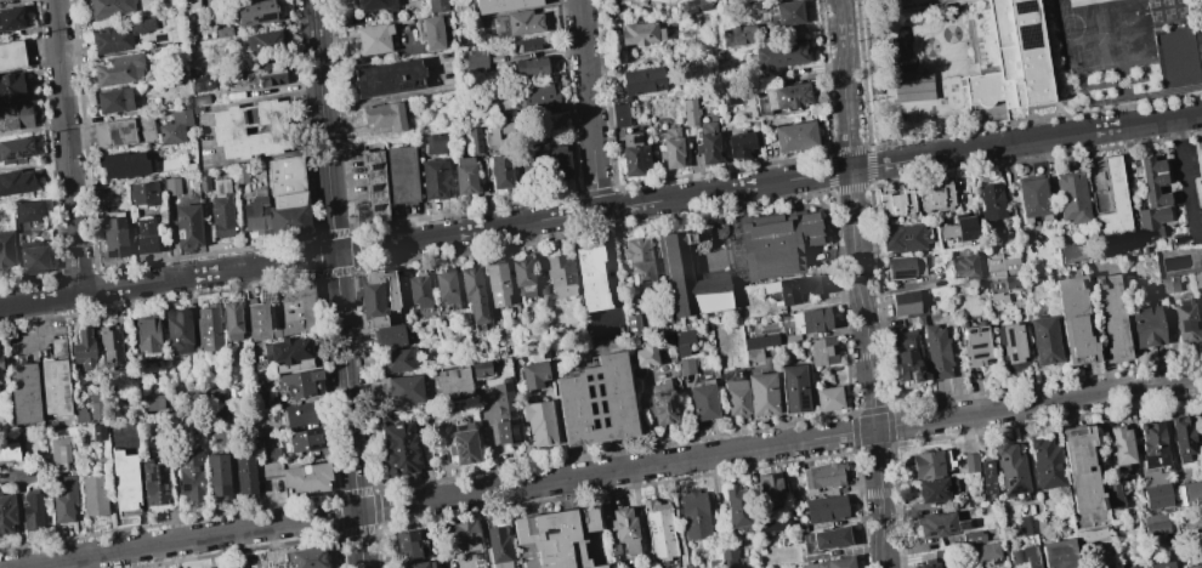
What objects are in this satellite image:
building: (741, 0)
building: (749, 1)
park: (1180, 1)
park: (1167, 2)
building: (189, 4)
building: (374, 4)
building: (913, 4)
park: (1153, 4)
building: (436, 5)
building: (501, 5)
building: (699, 5)
building: (108, 7)
rooftop solar panel: (1024, 8)
building: (253, 12)
park: (1183, 12)
park: (1169, 15)
building: (783, 16)
building: (11, 17)
rooftop solar panel: (265, 17)
park: (1155, 17)
park: (954, 18)
rooftop solar panel: (251, 19)
building: (517, 23)
park: (932, 24)
building: (223, 32)
building: (431, 33)
park: (1109, 33)
building: (118, 34)
building: (639, 34)
park: (951, 34)
rooftop solar panel: (1027, 35)
building: (739, 36)
building: (373, 39)
building: (261, 42)
building: (526, 44)
track: (1134, 46)
park: (929, 47)
building: (11, 55)
building: (779, 57)
park: (1177, 57)
building: (474, 58)
building: (1015, 58)
building: (529, 66)
building: (115, 69)
building: (270, 74)
building: (389, 78)
building: (642, 80)
park: (1122, 81)
building: (202, 83)
building: (11, 86)
rooftop solar panel: (402, 87)
building: (913, 87)
park: (953, 87)
park: (942, 89)
building: (538, 96)
building: (735, 97)
building: (787, 98)
building: (113, 100)
building: (199, 100)
park: (954, 100)
park: (942, 101)
road: (589, 106)
building: (691, 113)
park: (917, 113)
building: (619, 114)
building: (15, 115)
building: (385, 115)
building: (174, 126)
building: (226, 129)
building: (509, 130)
building: (123, 131)
building: (491, 136)
building: (796, 137)
building: (476, 141)
building: (438, 144)
building: (709, 144)
building: (741, 146)
road: (66, 147)
building: (15, 149)
building: (673, 150)
rooftop solar panel: (2, 152)
rooftop solar panel: (22, 153)
rooftop solar panel: (8, 154)
building: (635, 157)
building: (1201, 157)
building: (123, 164)
building: (560, 165)
rooftop solar panel: (372, 166)
building: (534, 170)
building: (238, 174)
building: (501, 174)
building: (403, 177)
building: (465, 177)
road: (1186, 178)
building: (436, 180)
building: (16, 182)
building: (203, 183)
building: (1201, 183)
building: (170, 186)
rooftop solar panel: (372, 187)
building: (373, 189)
building: (142, 193)
building: (290, 198)
building: (1033, 198)
building: (1072, 198)
building: (937, 199)
building: (1153, 200)
building: (991, 203)
building: (896, 204)
rooftop solar panel: (374, 208)
building: (1112, 209)
building: (27, 210)
road: (600, 210)
building: (220, 211)
building: (255, 215)
building: (187, 223)
building: (960, 231)
building: (113, 234)
building: (144, 235)
building: (906, 239)
building: (767, 244)
building: (6, 249)
rooftop solar panel: (110, 254)
building: (1073, 255)
building: (33, 257)
building: (639, 262)
building: (905, 267)
building: (1002, 267)
building: (965, 268)
rooftop solar panel: (906, 273)
building: (561, 276)
building: (523, 277)
building: (591, 279)
building: (690, 279)
road: (613, 282)
building: (1197, 282)
road: (336, 284)
building: (498, 284)
road: (857, 284)
building: (1169, 285)
building: (447, 288)
building: (1003, 288)
building: (795, 289)
building: (419, 291)
building: (474, 294)
building: (381, 299)
building: (908, 305)
building: (284, 312)
building: (1112, 319)
building: (231, 320)
building: (1076, 320)
building: (1185, 320)
building: (810, 322)
road: (33, 323)
building: (634, 325)
building: (1147, 325)
building: (208, 328)
rooftop solar panel: (981, 329)
building: (177, 330)
rooftop solar panel: (970, 330)
building: (147, 335)
building: (391, 336)
rooftop solar panel: (1008, 336)
building: (1045, 340)
building: (109, 342)
building: (684, 342)
building: (760, 342)
building: (57, 347)
building: (532, 347)
building: (1013, 347)
building: (976, 348)
rooftop solar panel: (976, 348)
building: (83, 350)
building: (822, 352)
building: (937, 353)
building: (288, 354)
building: (753, 354)
rooftop solar panel: (979, 354)
rooftop solar panel: (1011, 354)
building: (645, 356)
building: (398, 359)
building: (907, 359)
building: (0, 363)
building: (686, 367)
building: (481, 369)
building: (534, 375)
rooftop solar panel: (596, 376)
rooftop solar panel: (585, 379)
building: (0, 381)
building: (450, 384)
building: (299, 385)
building: (55, 387)
building: (399, 390)
building: (794, 390)
rooftop solar panel: (597, 391)
building: (23, 393)
rooftop solar panel: (588, 394)
rooftop solar panel: (662, 394)
building: (762, 394)
building: (736, 397)
building: (829, 399)
rooftop solar panel: (803, 401)
building: (152, 402)
building: (596, 402)
building: (703, 402)
building: (663, 403)
rooftop solar panel: (668, 403)
rooftop solar panel: (652, 404)
rooftop solar panel: (601, 408)
rooftop solar panel: (589, 409)
building: (96, 410)
building: (1201, 411)
building: (299, 414)
rooftop solar panel: (671, 414)
building: (80, 416)
building: (506, 416)
building: (539, 422)
rooftop solar panel: (601, 422)
building: (380, 424)
rooftop solar panel: (593, 426)
building: (97, 432)
building: (302, 439)
building: (1181, 439)
building: (464, 445)
building: (1152, 445)
building: (1121, 447)
rooftop solar panel: (461, 448)
building: (399, 449)
building: (8, 451)
building: (59, 453)
building: (970, 462)
building: (1047, 464)
building: (928, 465)
building: (1011, 470)
building: (1081, 470)
road: (608, 472)
building: (244, 473)
building: (189, 475)
building: (217, 476)
building: (823, 476)
building: (306, 478)
building: (986, 479)
building: (125, 482)
building: (157, 483)
building: (770, 489)
building: (936, 490)
building: (93, 495)
building: (1113, 495)
building: (1155, 495)
building: (1190, 495)
rooftop solar panel: (1179, 498)
building: (64, 501)
building: (957, 505)
building: (738, 507)
building: (826, 510)
building: (33, 512)
building: (6, 513)
building: (696, 515)
rooftop solar panel: (965, 523)
building: (773, 524)
building: (941, 524)
building: (1041, 524)
building: (1026, 526)
building: (1155, 526)
rooftop solar panel: (935, 527)
rooftop solar panel: (951, 529)
building: (660, 530)
building: (624, 532)
rooftop solar panel: (928, 534)
building: (1093, 534)
building: (466, 535)
building: (554, 538)
building: (973, 538)
building: (826, 540)
building: (407, 545)
building: (499, 547)
building: (988, 552)
building: (612, 553)
building: (1059, 553)
building: (728, 557)
building: (1025, 557)
building: (306, 558)
road: (90, 562)
parking lot: (459, 563)
building: (715, 563)
building: (833, 563)
building: (421, 564)
building: (929, 564)
building: (1161, 564)
building: (691, 566)
building: (1195, 566)
building: (233, 567)

